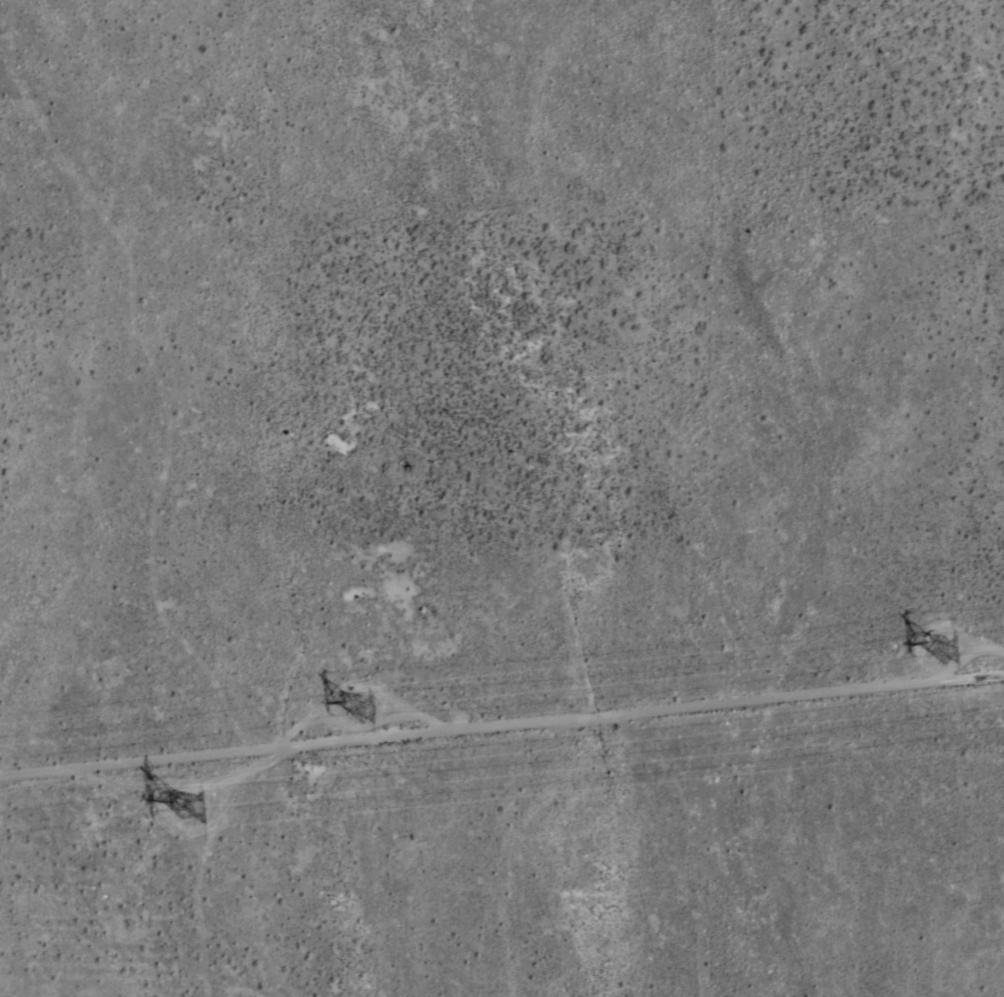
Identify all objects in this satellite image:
power tower: (989, 653)
power tower: (373, 716)
road: (502, 722)
power tower: (191, 822)

